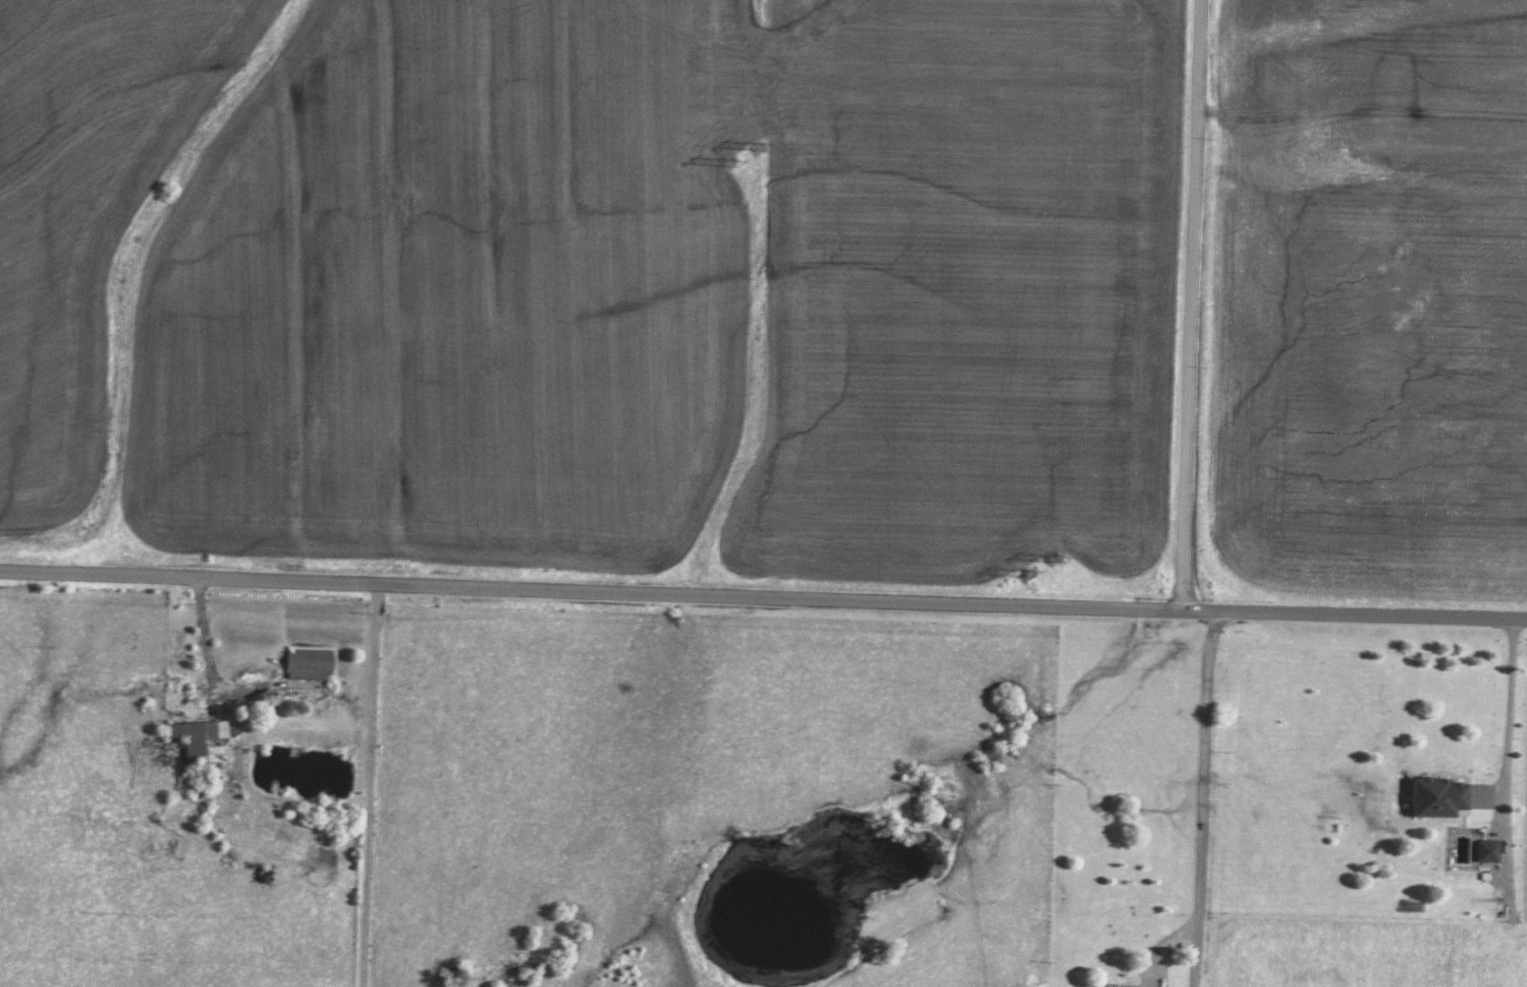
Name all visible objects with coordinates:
power tower: (758, 142)
power tower: (723, 156)
road: (1192, 302)
power tower: (1051, 555)
power tower: (1021, 571)
road: (763, 603)
road: (203, 636)
building: (308, 664)
road: (1510, 705)
building: (189, 739)
road: (1201, 795)
building: (1438, 797)
building: (1487, 850)

